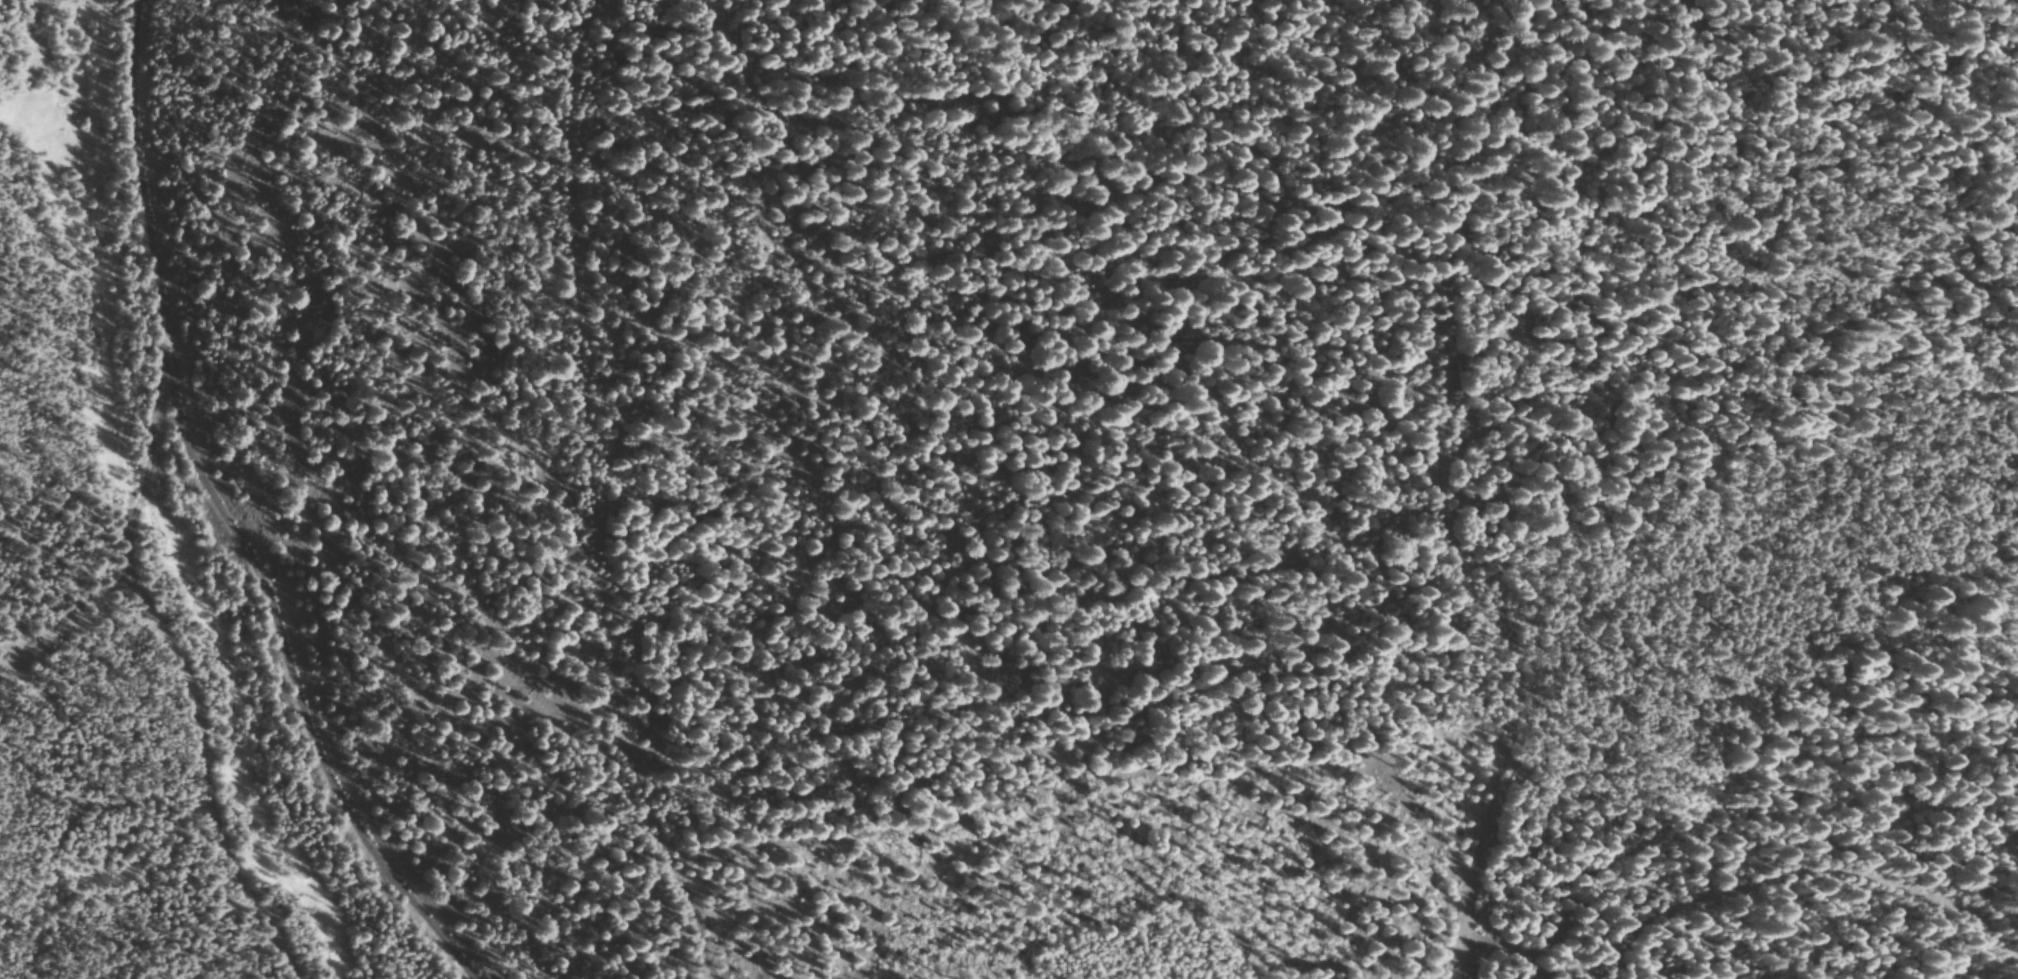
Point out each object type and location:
road: (1775, 859)

